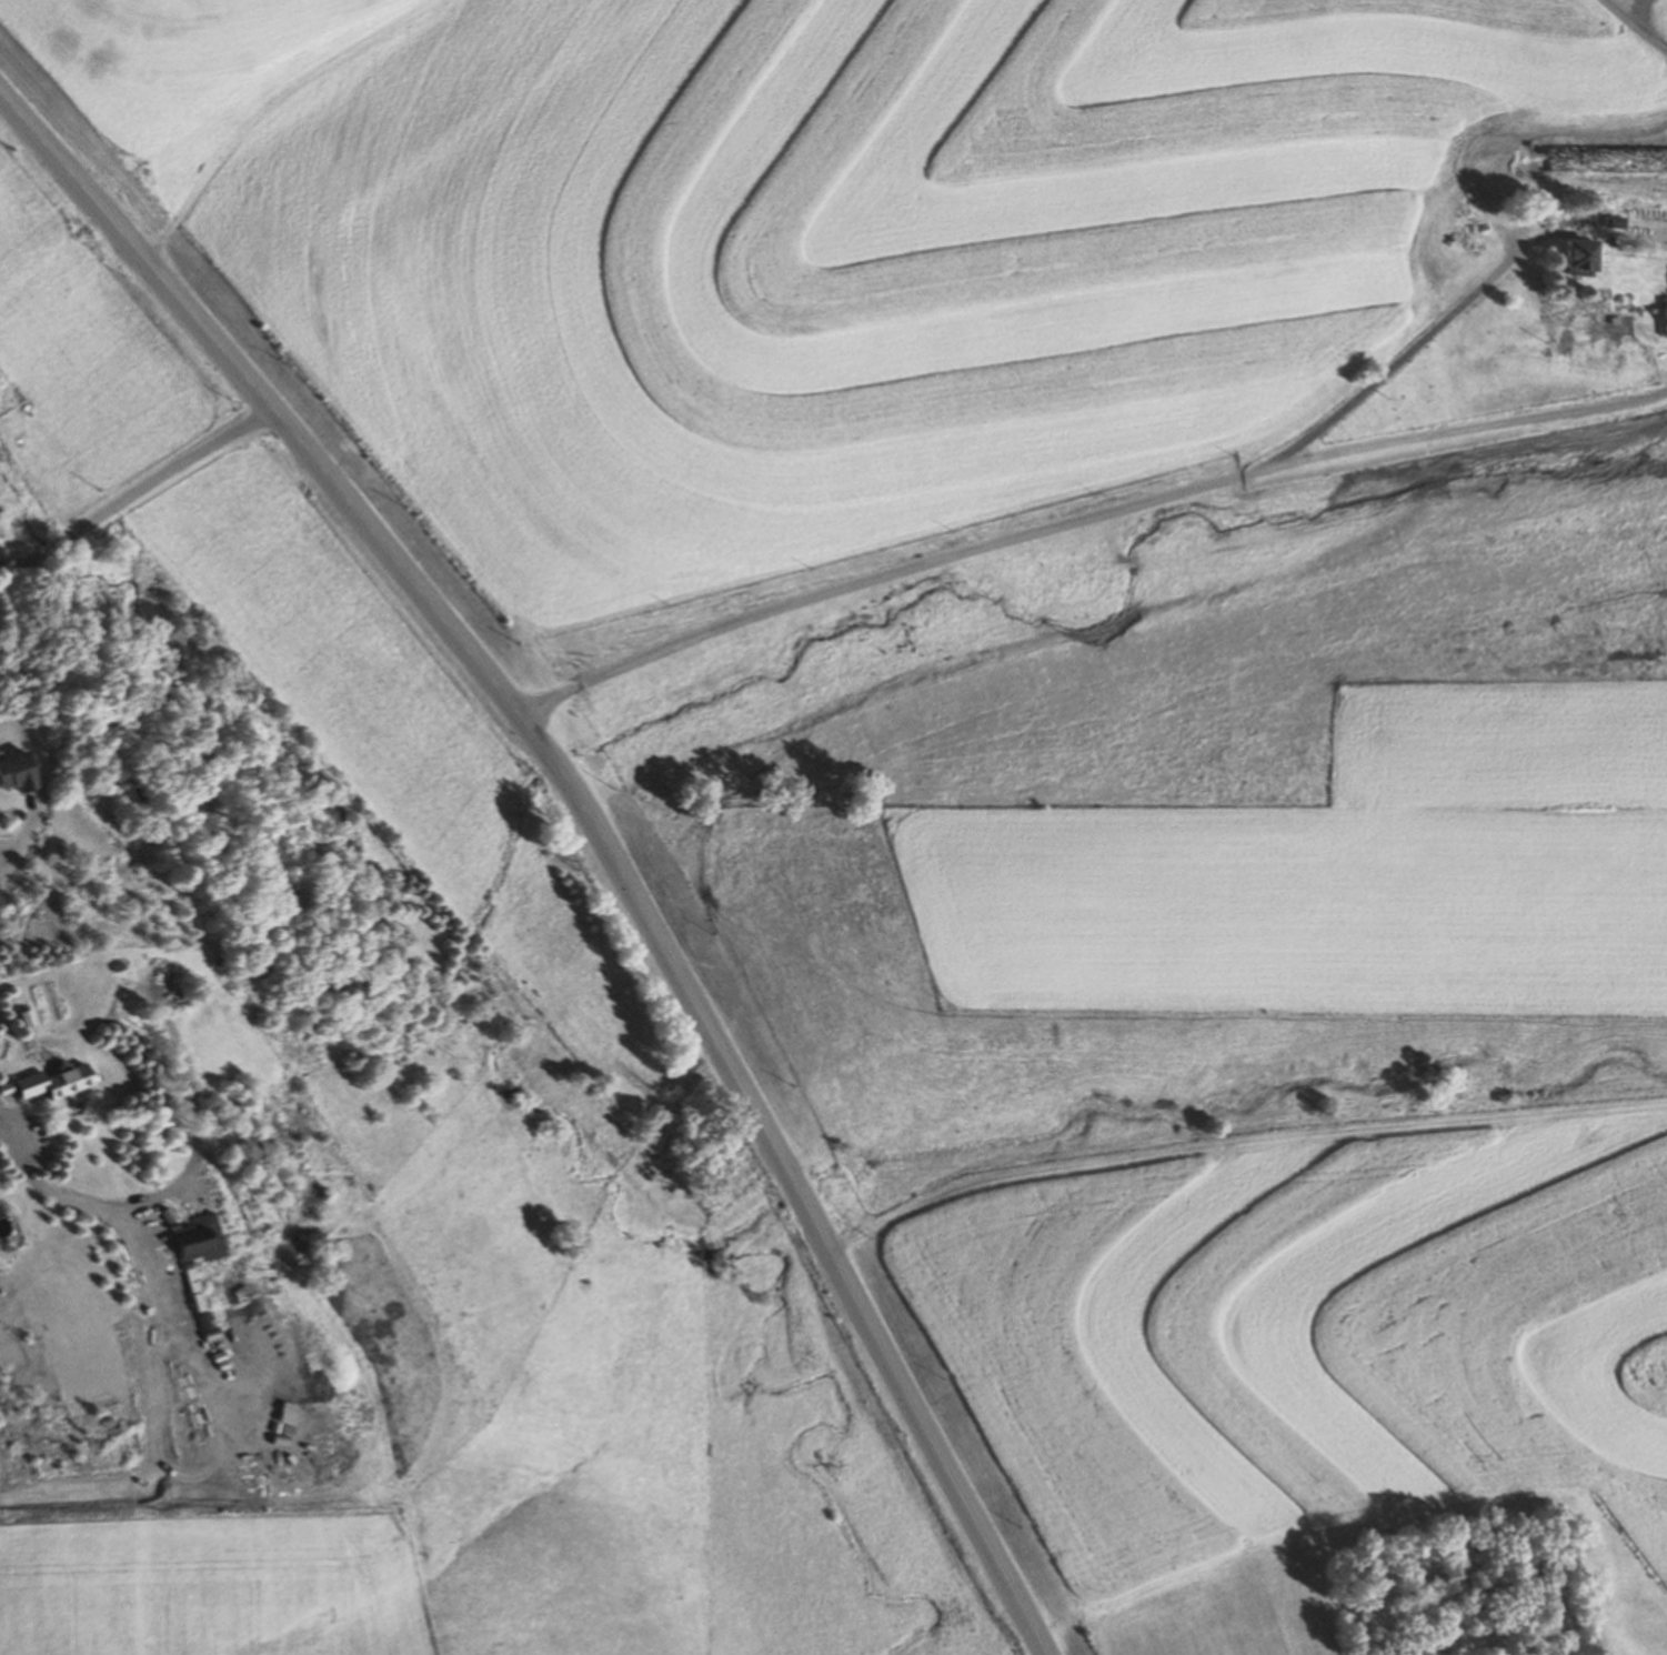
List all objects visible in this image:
building: (1657, 228)
building: (1579, 255)
building: (1665, 320)
road: (1422, 333)
road: (133, 488)
road: (1082, 519)
building: (19, 771)
road: (590, 826)
road: (23, 835)
building: (57, 1081)
road: (3, 1106)
road: (1, 1110)
road: (40, 1163)
road: (112, 1212)
building: (201, 1236)
road: (190, 1414)
road: (142, 1506)

